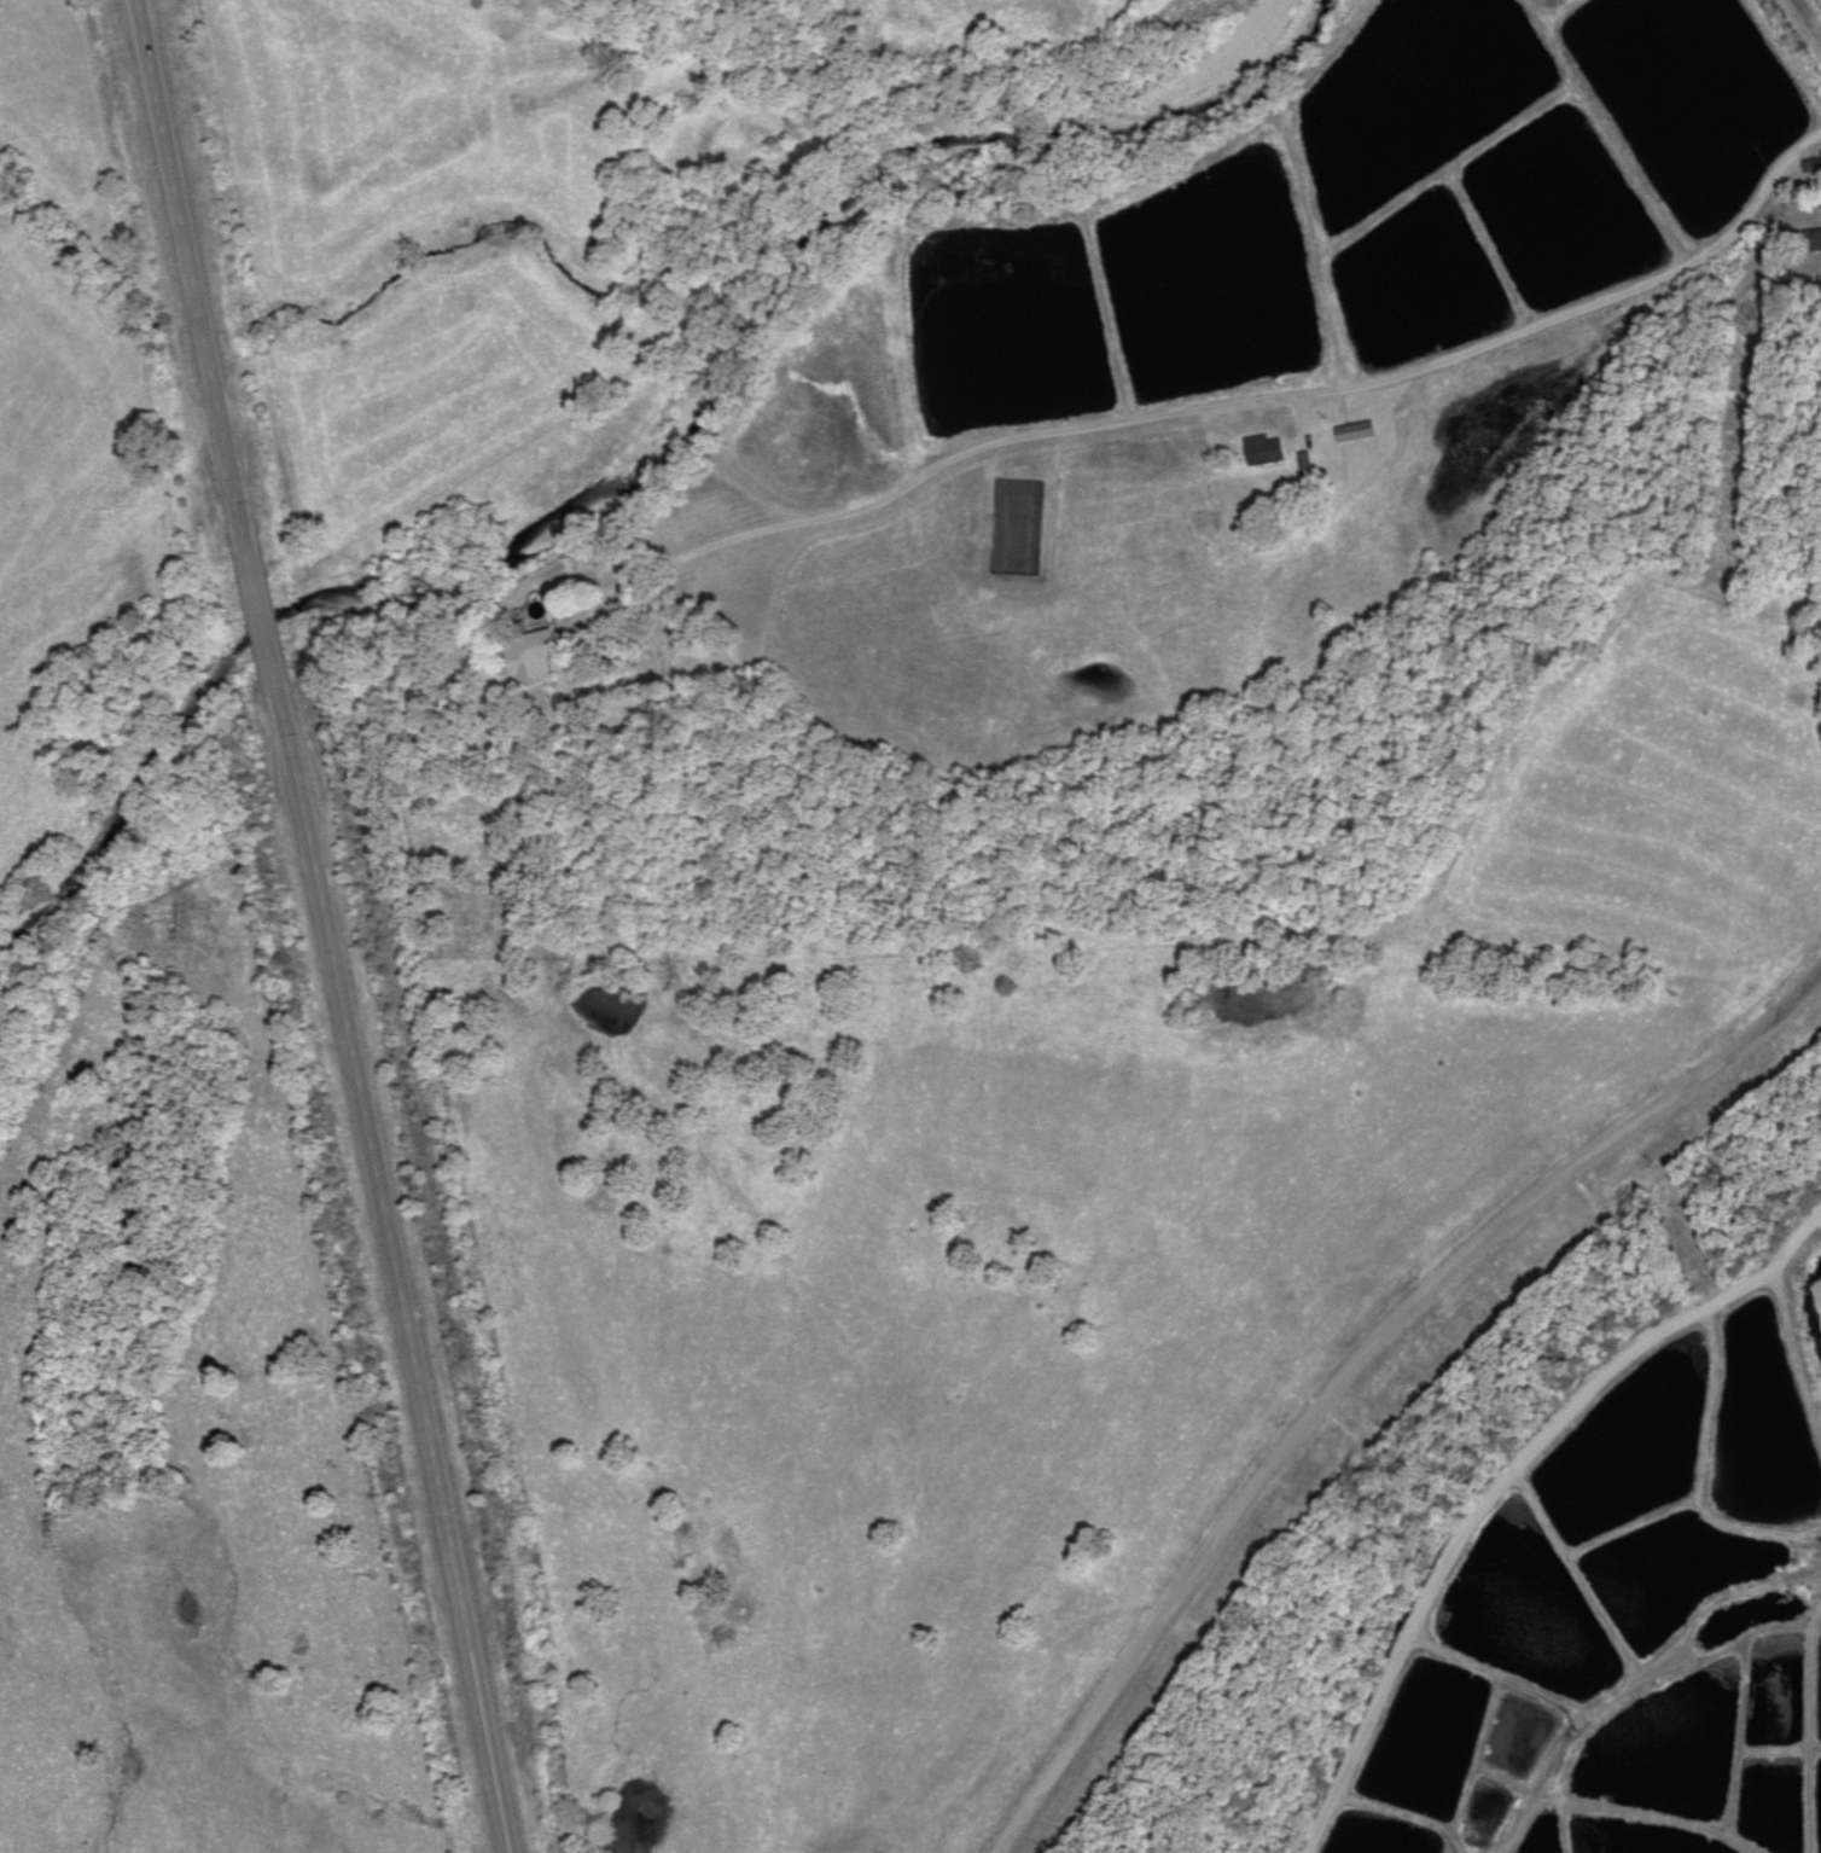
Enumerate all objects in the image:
road: (1218, 413)
building: (1354, 434)
building: (1262, 455)
road: (310, 927)
road: (1361, 1363)
road: (1491, 1476)

